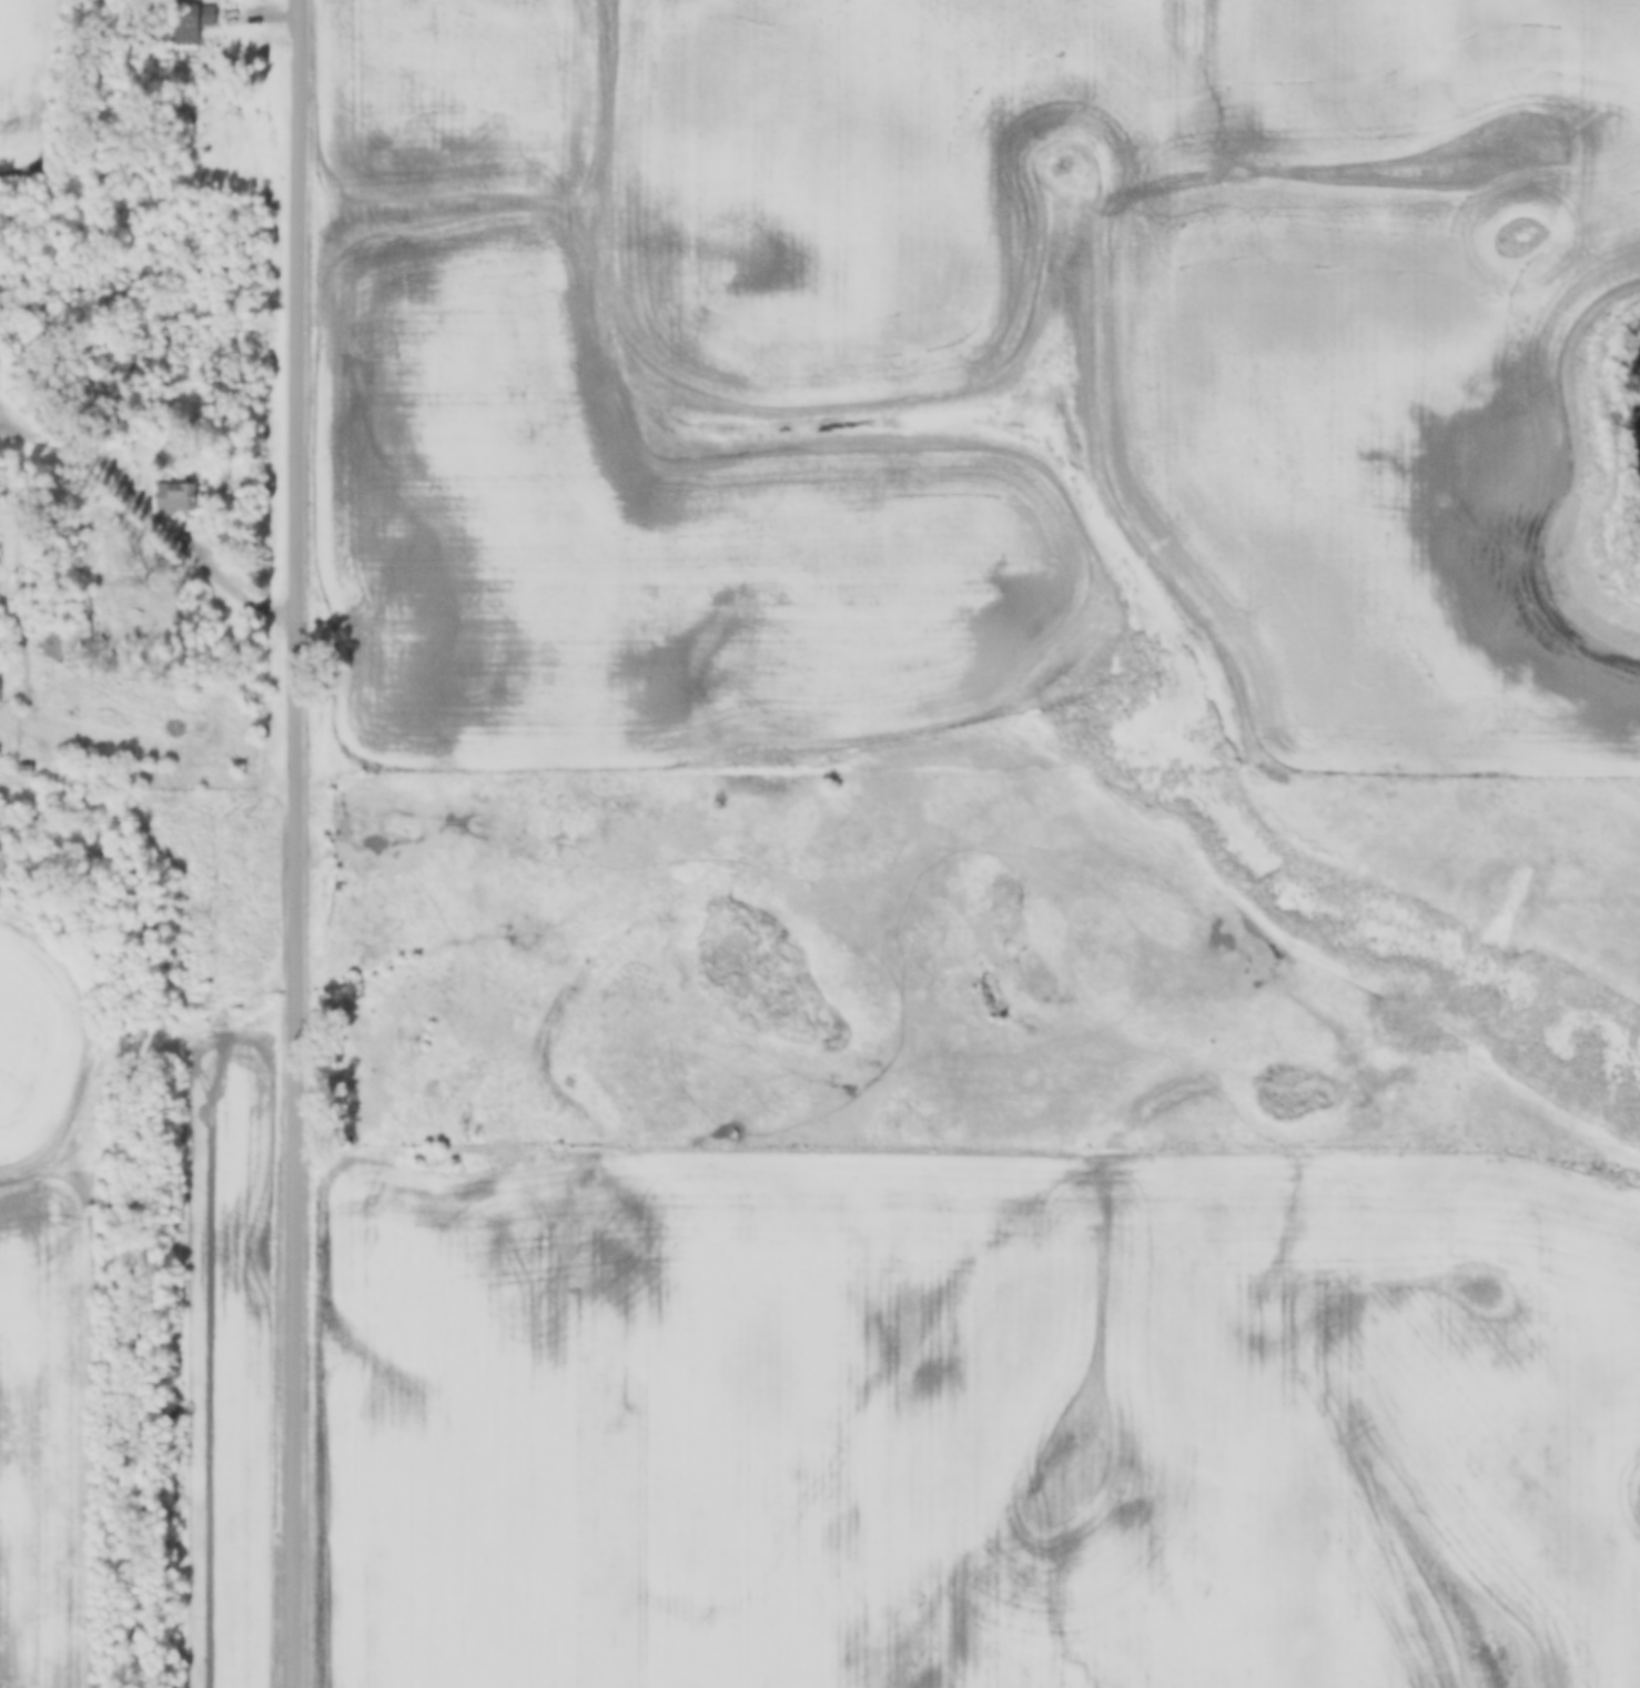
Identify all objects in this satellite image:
building: (189, 23)
building: (174, 499)
road: (154, 513)
building: (82, 623)
road: (44, 725)
road: (297, 843)

